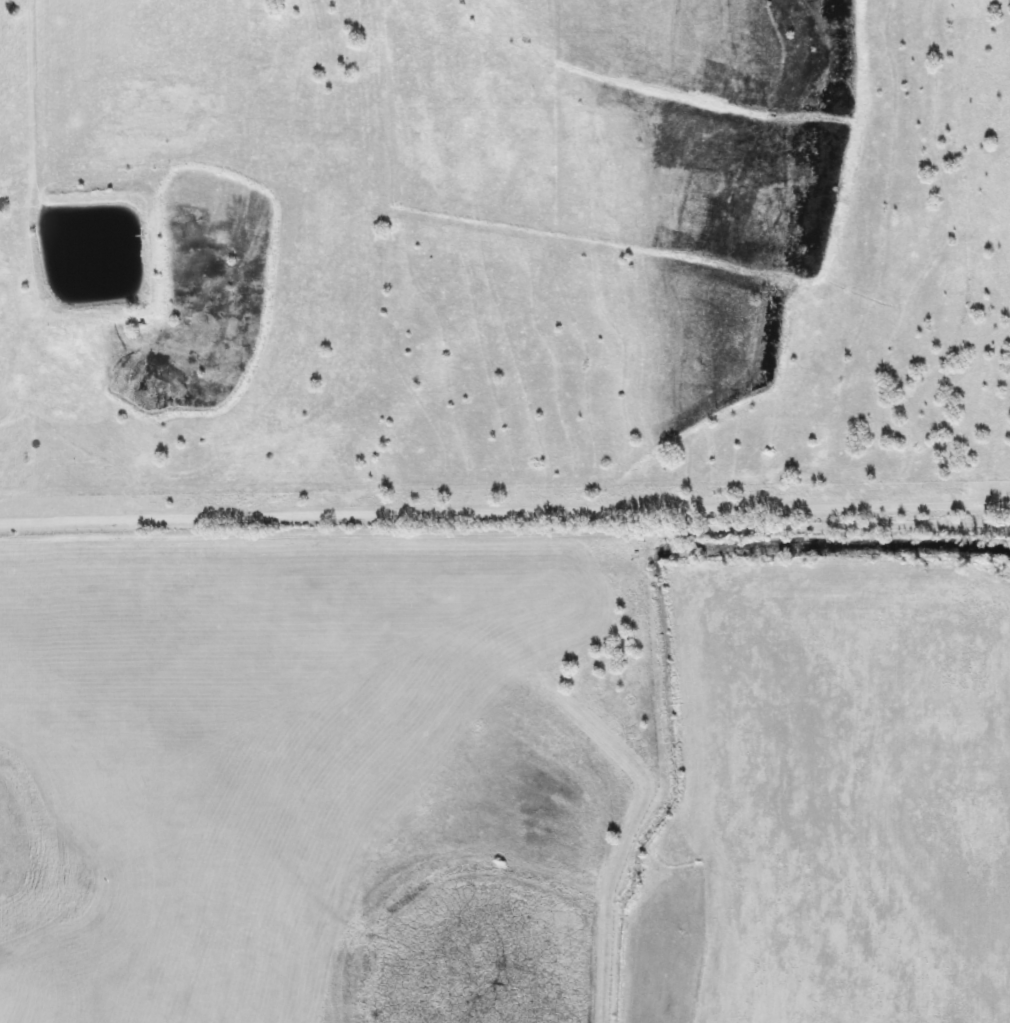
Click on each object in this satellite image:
road: (505, 531)

